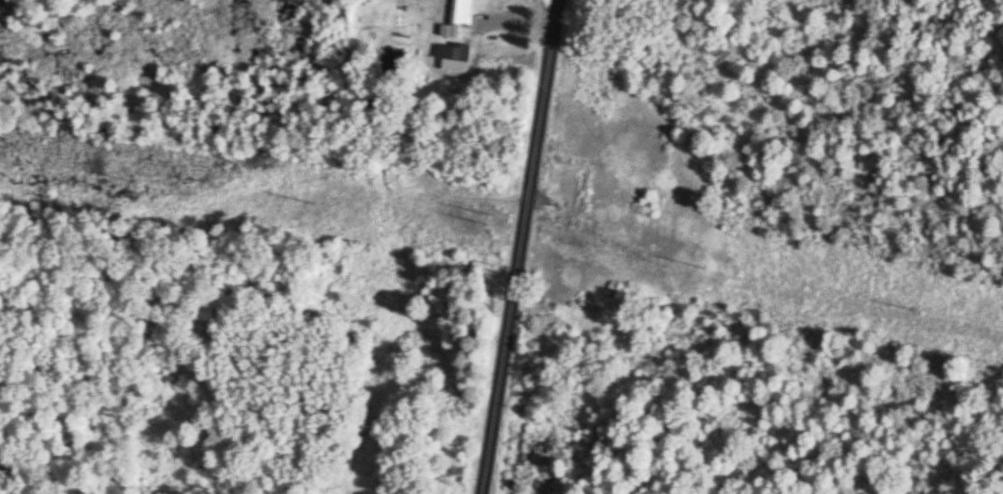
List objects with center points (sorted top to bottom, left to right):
building: (457, 19)
building: (452, 59)
road: (521, 247)

